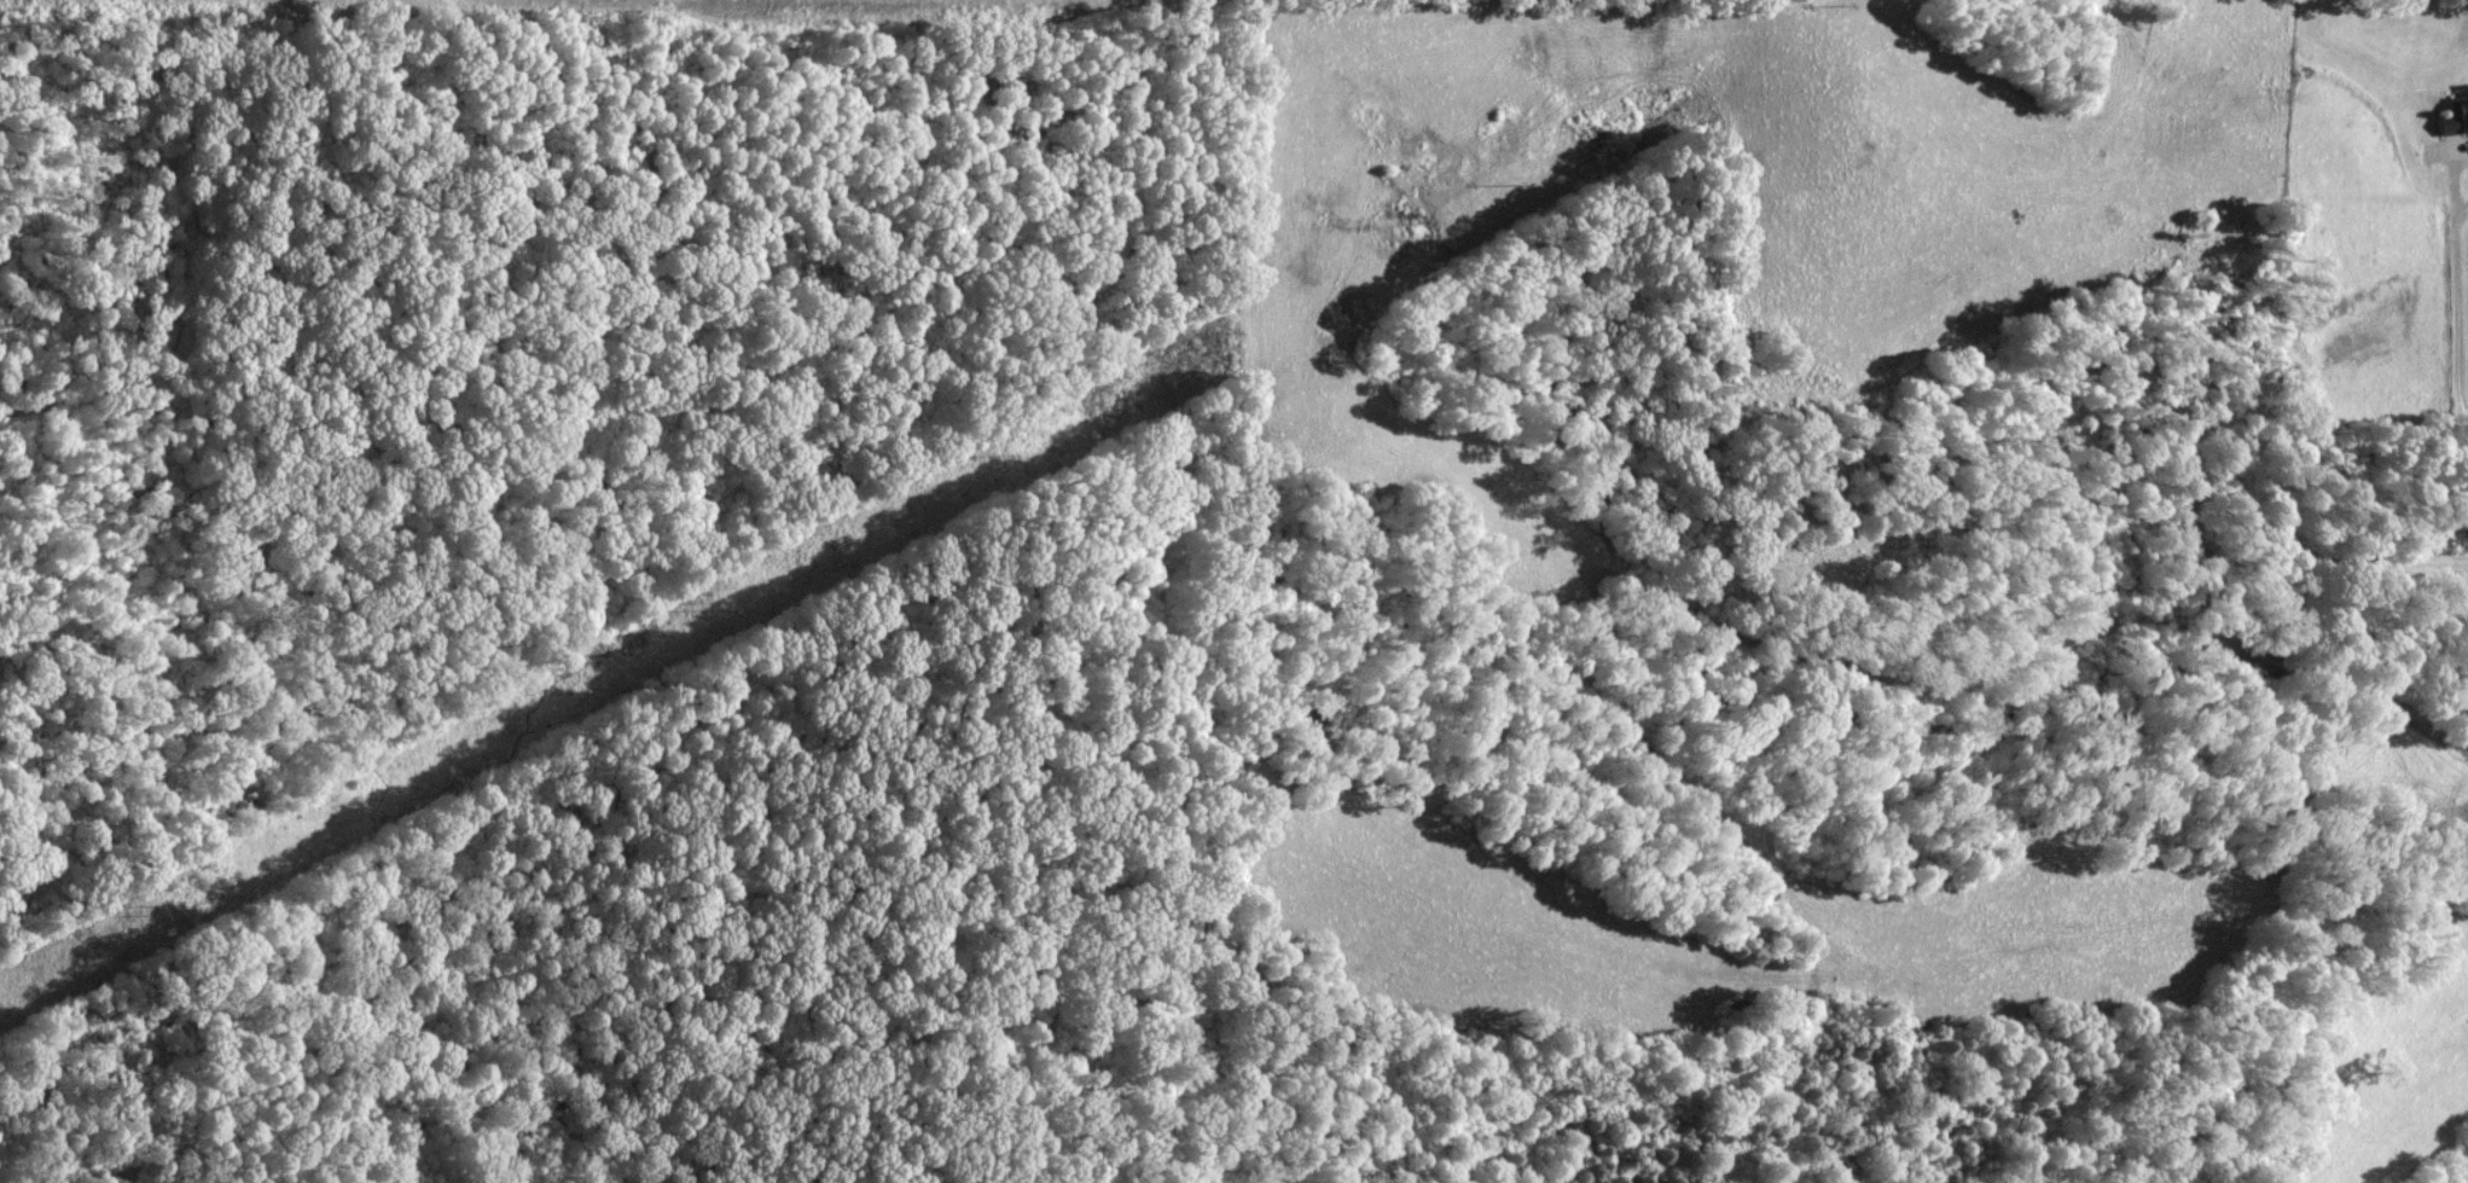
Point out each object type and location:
building: (2457, 115)

